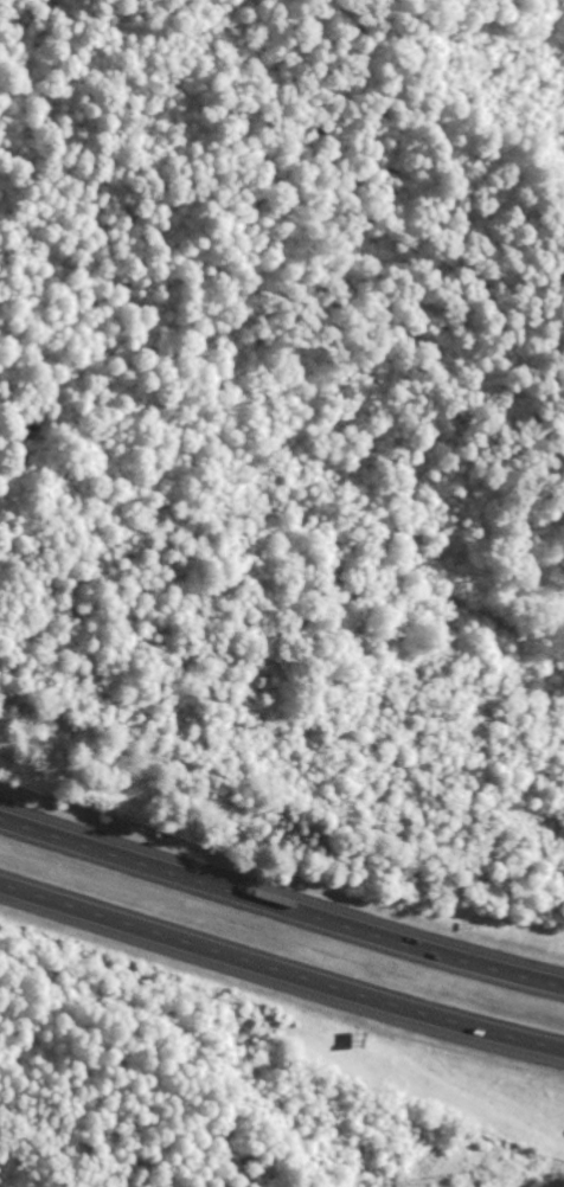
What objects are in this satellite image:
road: (281, 909)
road: (280, 974)

